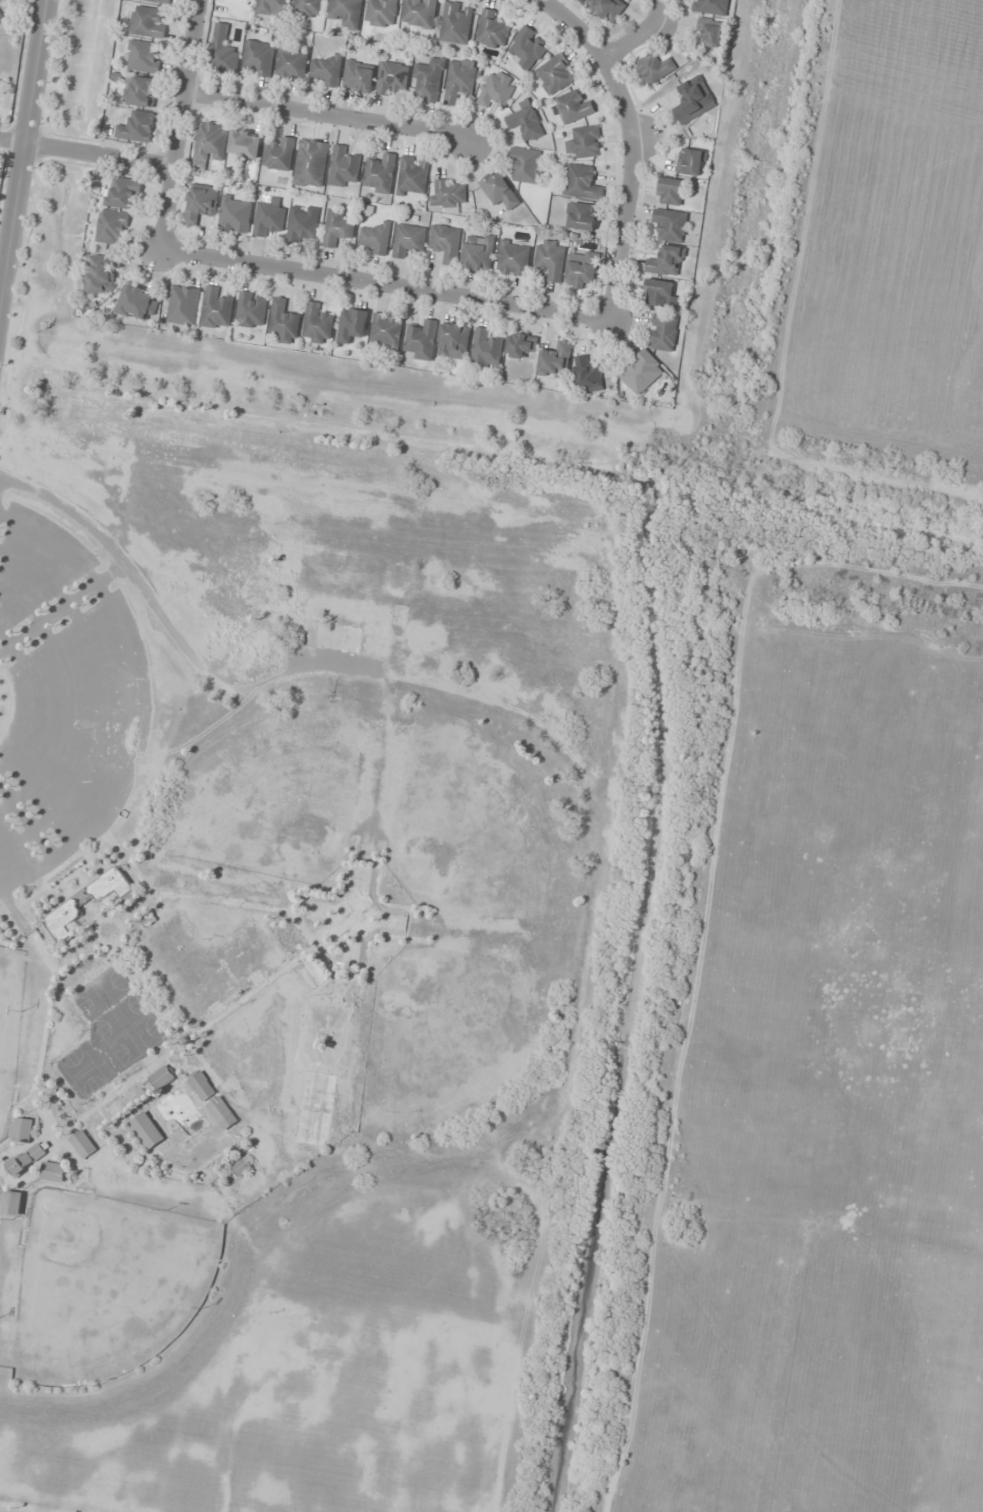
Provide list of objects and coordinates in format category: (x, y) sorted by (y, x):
building: (157, 1)
building: (271, 7)
building: (710, 7)
building: (307, 8)
building: (606, 9)
building: (346, 13)
building: (381, 13)
building: (419, 13)
building: (0, 16)
building: (147, 23)
building: (456, 23)
road: (574, 23)
building: (491, 31)
building: (708, 33)
building: (527, 48)
building: (222, 55)
building: (142, 56)
building: (258, 56)
building: (291, 64)
building: (654, 68)
building: (327, 70)
building: (555, 75)
building: (358, 76)
building: (392, 79)
building: (429, 80)
building: (460, 81)
building: (496, 89)
building: (140, 91)
building: (691, 99)
building: (573, 107)
road: (326, 116)
building: (526, 121)
road: (179, 125)
building: (136, 127)
building: (585, 142)
building: (209, 144)
building: (245, 144)
road: (629, 144)
road: (21, 146)
road: (86, 153)
building: (279, 154)
building: (691, 162)
building: (311, 163)
building: (526, 165)
building: (343, 167)
building: (380, 174)
building: (413, 176)
building: (581, 183)
building: (499, 190)
building: (671, 191)
building: (123, 192)
building: (448, 195)
building: (200, 203)
building: (234, 215)
building: (580, 216)
building: (268, 219)
building: (304, 224)
building: (670, 225)
building: (111, 227)
building: (337, 227)
building: (376, 238)
building: (408, 240)
building: (445, 243)
building: (478, 252)
building: (513, 258)
building: (550, 259)
building: (667, 262)
building: (581, 271)
building: (100, 274)
road: (383, 286)
building: (659, 293)
building: (138, 303)
building: (183, 305)
building: (216, 309)
building: (251, 310)
building: (283, 322)
building: (317, 324)
building: (351, 325)
building: (387, 330)
building: (664, 332)
building: (421, 340)
building: (453, 341)
building: (520, 345)
building: (485, 350)
building: (555, 361)
building: (641, 372)
building: (588, 374)
road: (116, 556)
parking lot: (63, 696)
building: (85, 902)
building: (348, 923)
park: (8, 1022)
building: (162, 1078)
building: (202, 1086)
building: (222, 1113)
building: (23, 1130)
building: (147, 1131)
building: (83, 1144)
building: (27, 1159)
building: (241, 1167)
building: (55, 1172)
building: (12, 1204)
park: (103, 1285)

